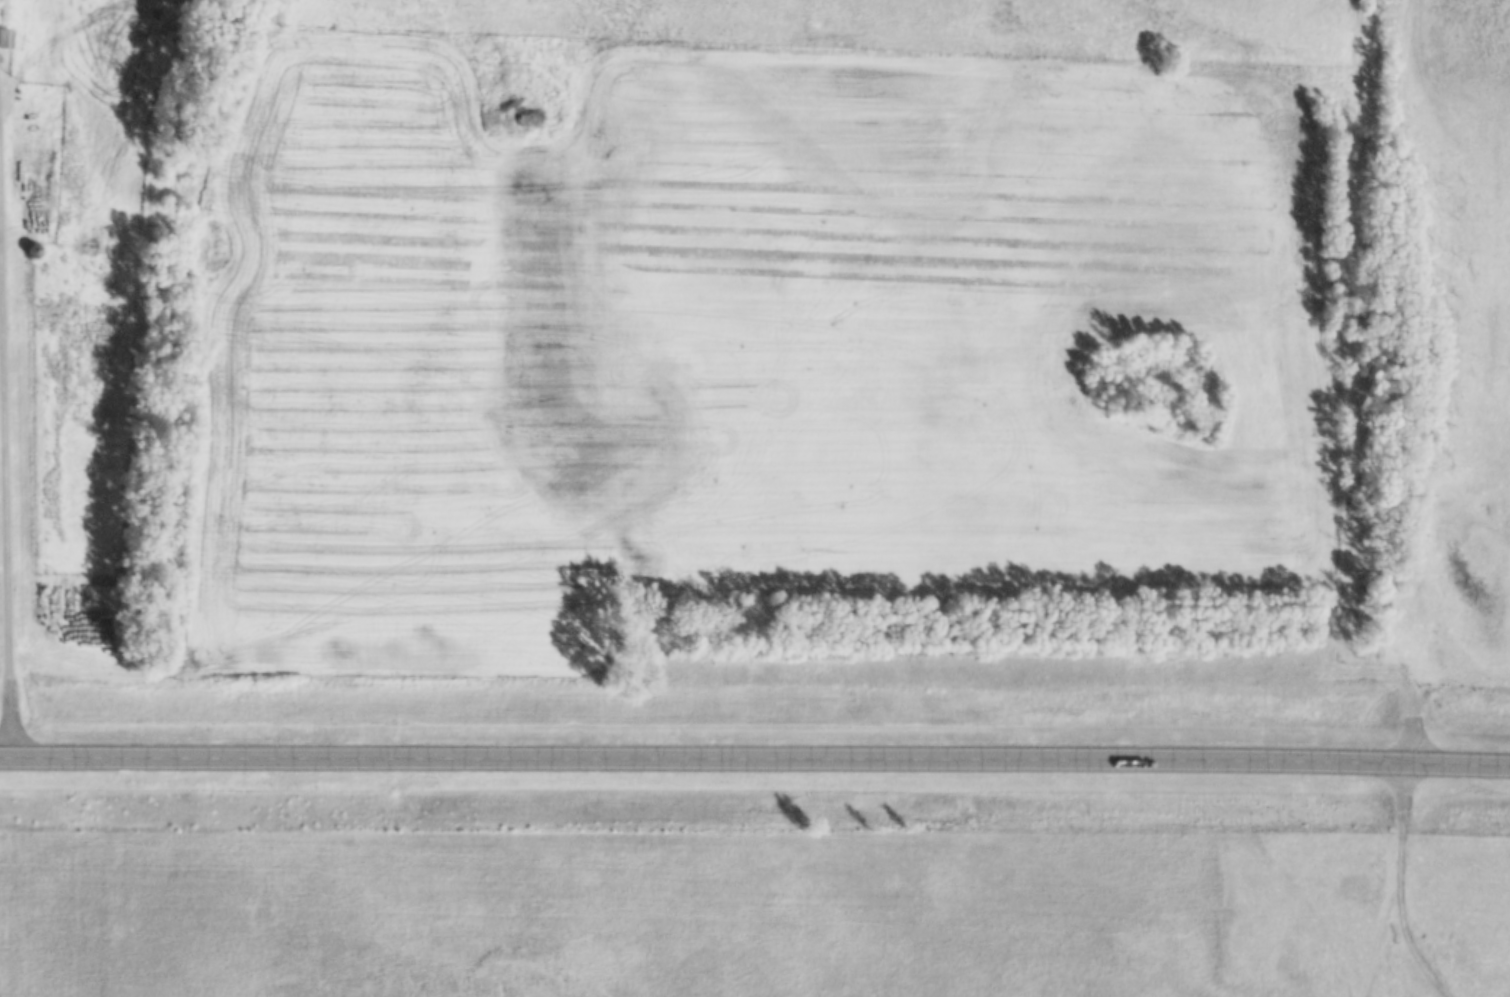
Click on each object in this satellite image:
building: (4, 52)
road: (6, 81)
road: (2, 101)
building: (30, 265)
silo: (30, 265)
road: (12, 431)
road: (755, 760)
road: (1412, 810)

